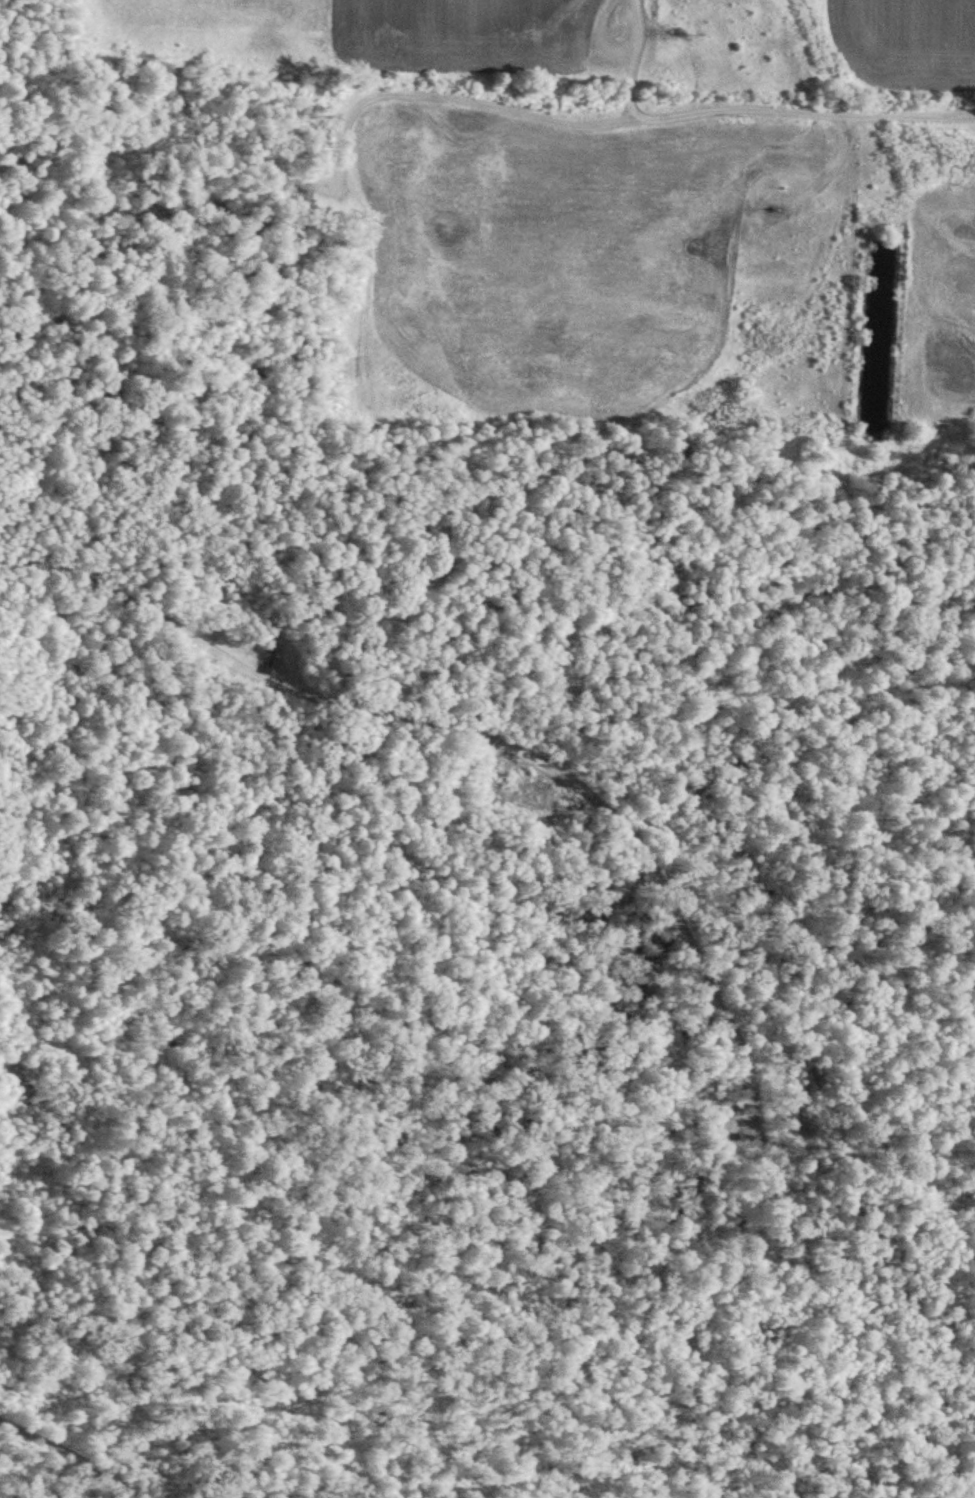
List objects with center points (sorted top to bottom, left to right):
petroleum well: (332, 194)
petroleum well: (778, 213)
petroleum well: (272, 651)
road: (439, 720)

